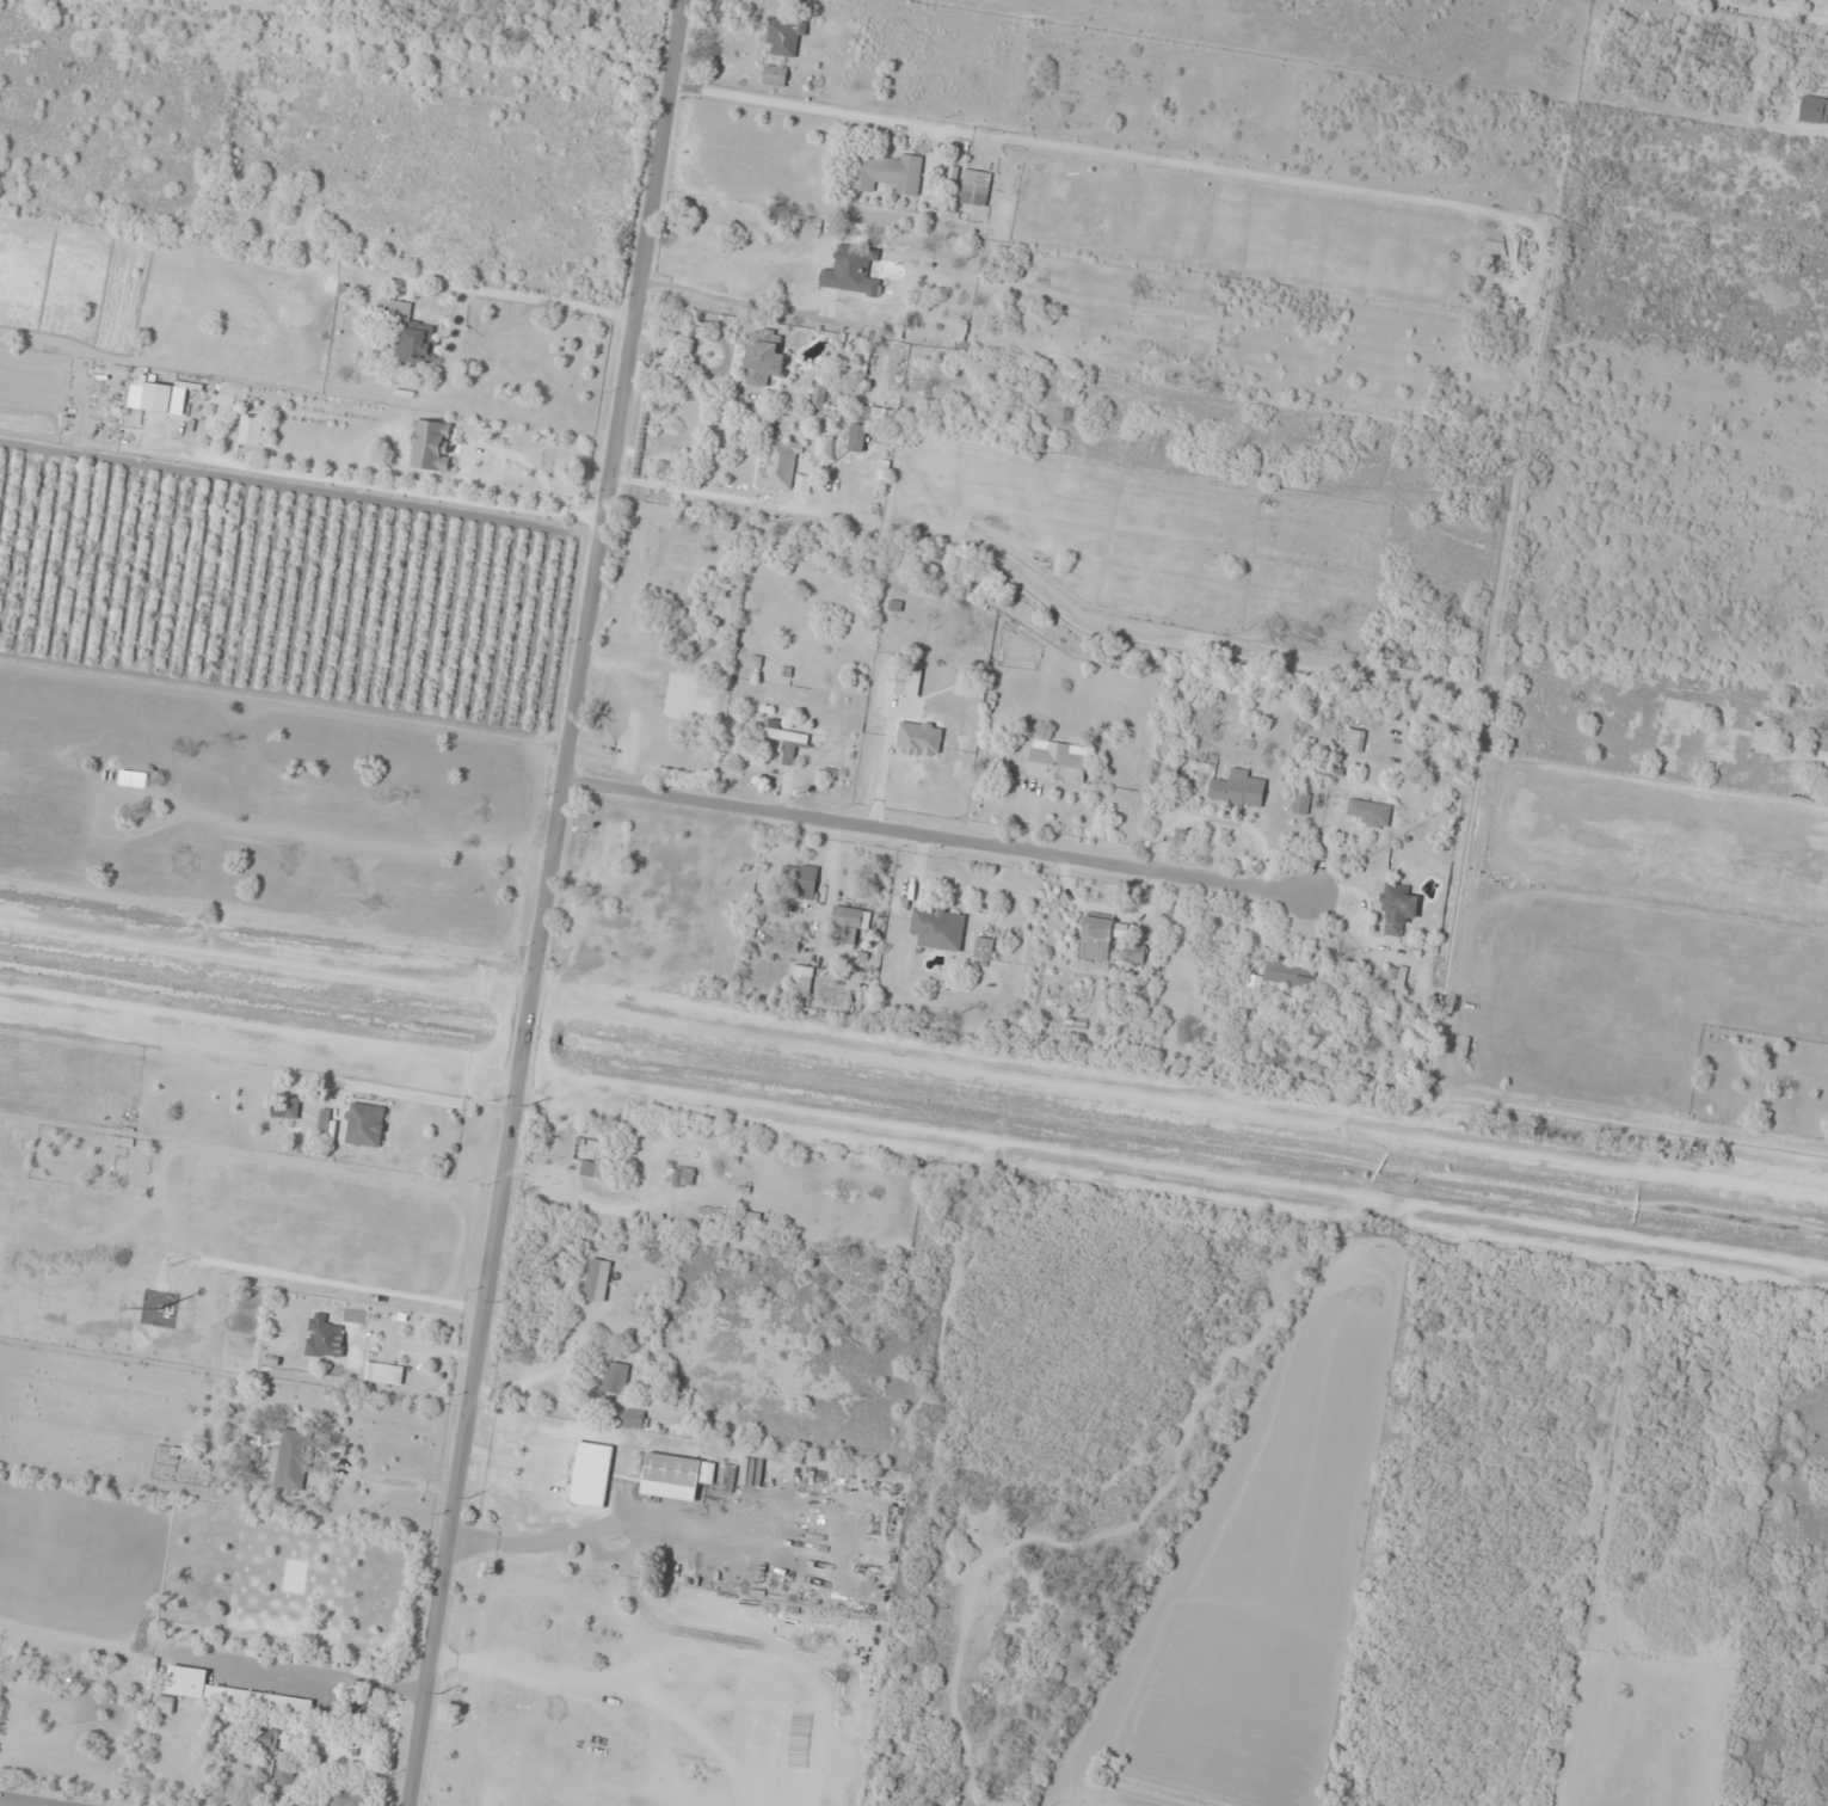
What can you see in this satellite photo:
building: (786, 38)
building: (775, 76)
building: (1814, 112)
building: (890, 174)
building: (975, 189)
building: (851, 272)
building: (408, 333)
building: (763, 361)
building: (819, 394)
building: (158, 399)
building: (857, 438)
building: (431, 446)
building: (780, 467)
building: (688, 671)
building: (903, 682)
building: (639, 715)
building: (782, 738)
building: (919, 739)
building: (1057, 762)
building: (1237, 790)
building: (1301, 804)
building: (1368, 812)
road: (944, 841)
building: (800, 881)
road: (559, 903)
building: (1397, 908)
building: (849, 923)
building: (938, 928)
building: (1101, 938)
building: (984, 950)
building: (1133, 953)
building: (801, 982)
building: (291, 1108)
building: (365, 1125)
building: (592, 1169)
building: (681, 1178)
building: (752, 1220)
building: (622, 1251)
building: (609, 1326)
building: (324, 1338)
building: (377, 1374)
building: (615, 1378)
building: (634, 1419)
building: (293, 1461)
building: (677, 1472)
building: (591, 1475)
building: (728, 1479)
building: (229, 1693)
building: (165, 1704)
building: (269, 1739)
building: (284, 1774)
building: (349, 1796)
road: (14, 1804)

